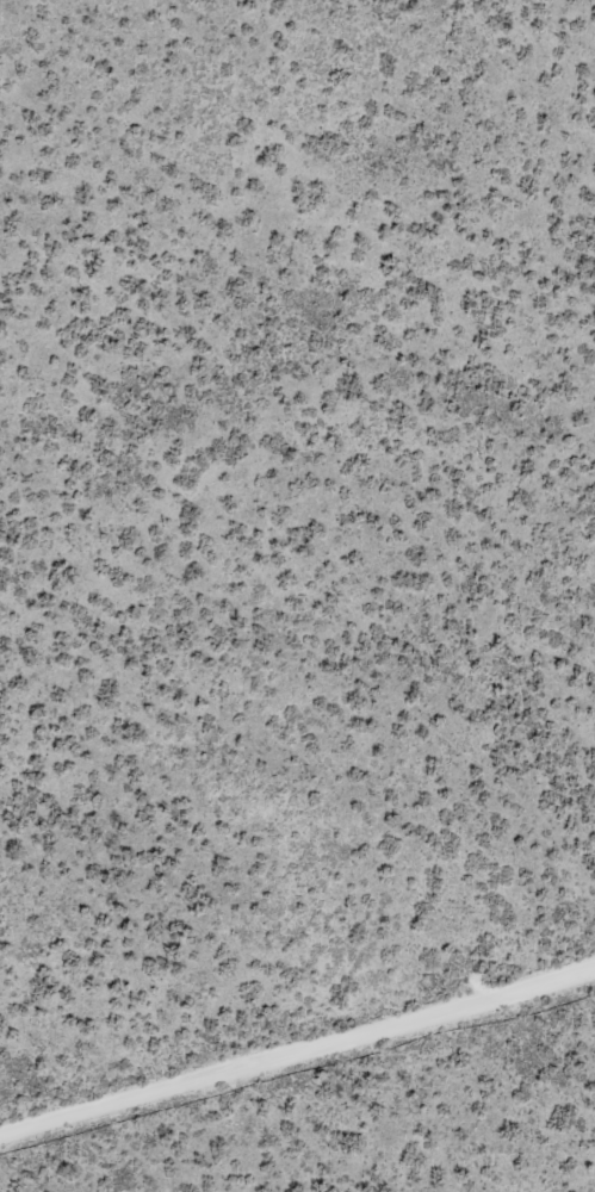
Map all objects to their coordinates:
road: (297, 1047)

